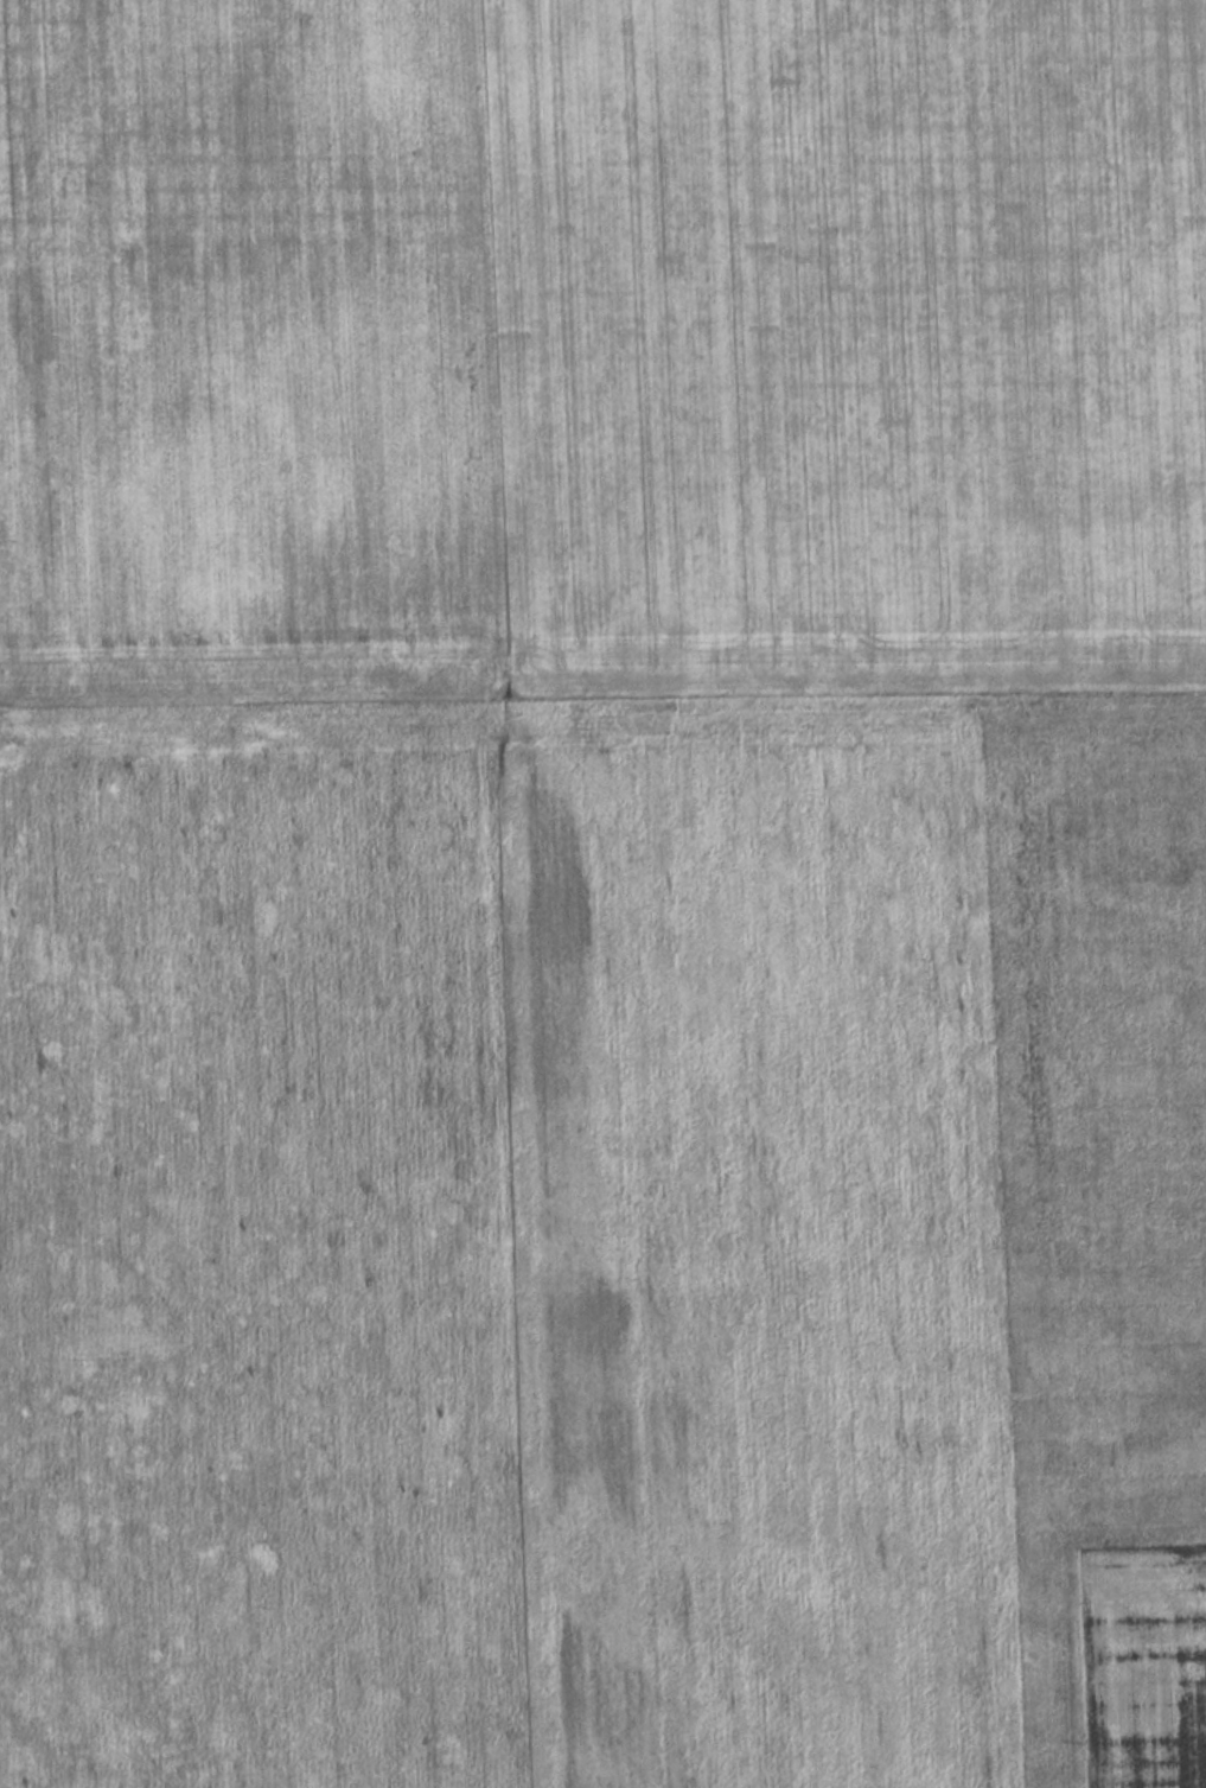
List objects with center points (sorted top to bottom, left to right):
crop: (601, 346)
crop: (604, 1240)

